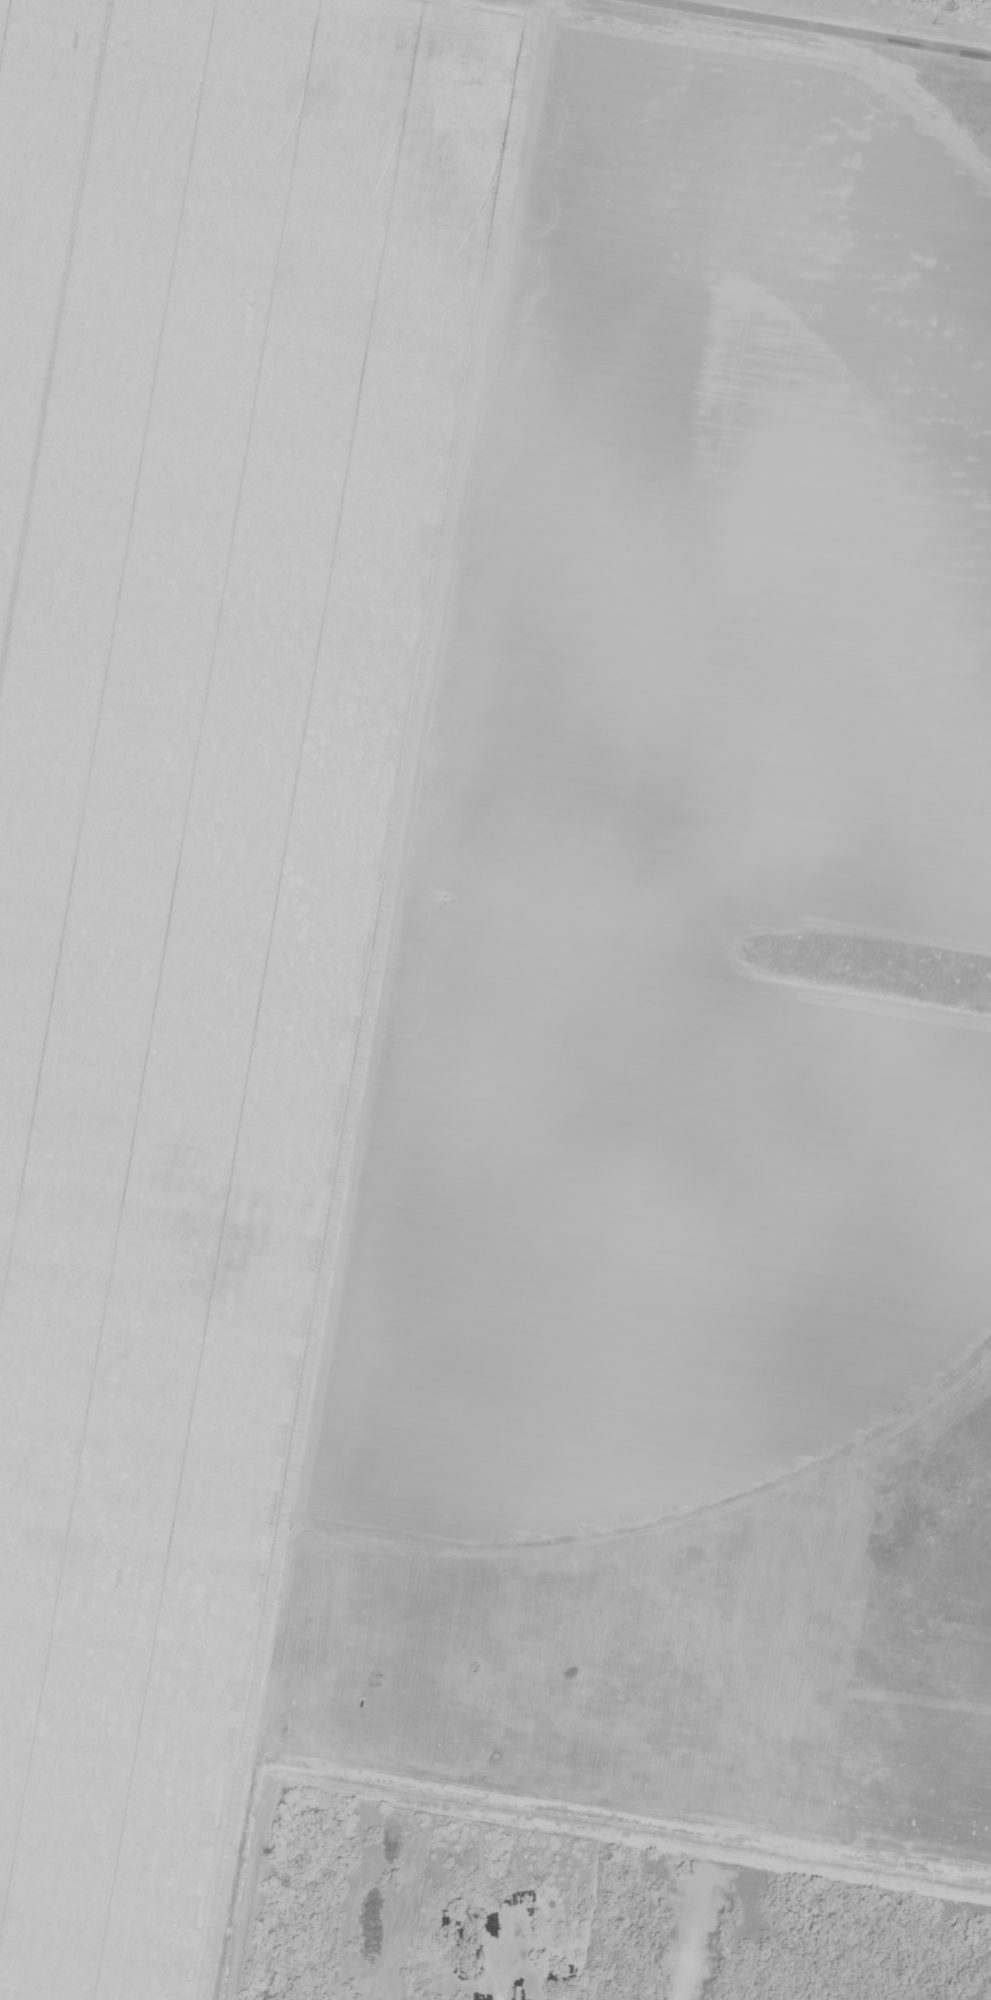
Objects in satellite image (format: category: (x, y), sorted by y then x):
railway: (956, 5)
road: (821, 27)

